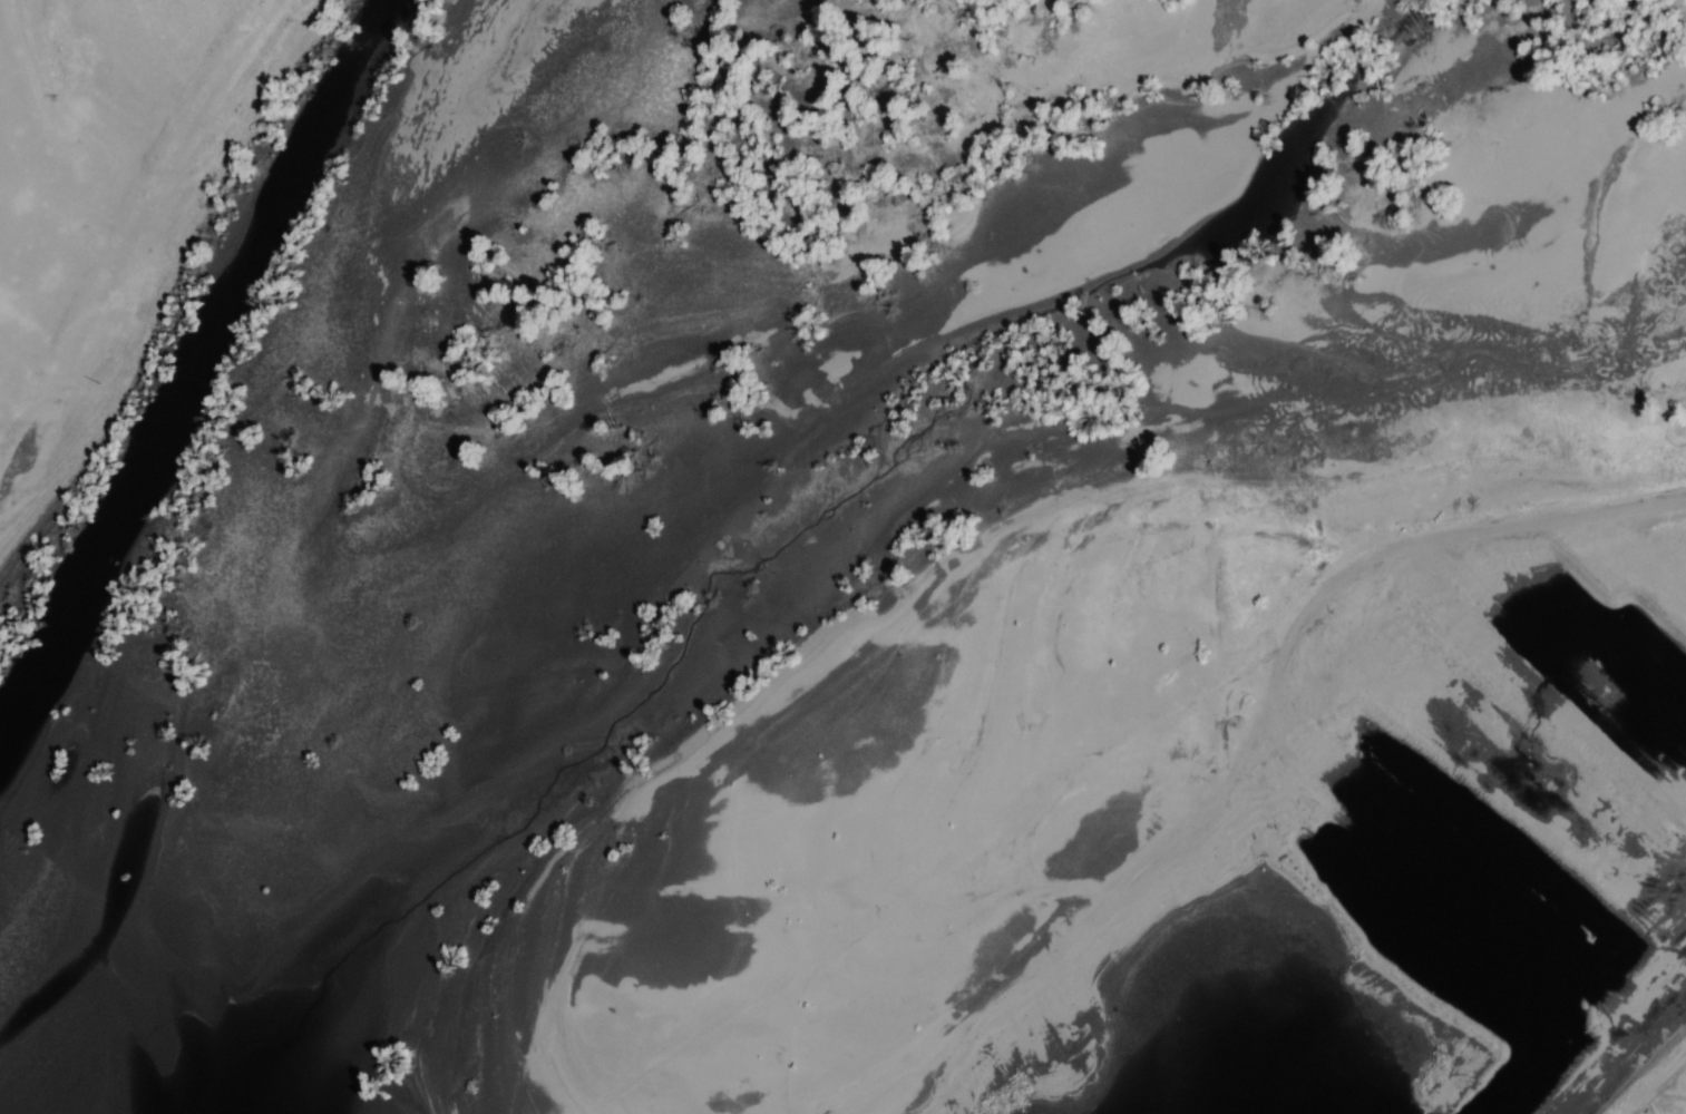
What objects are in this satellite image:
river: (206, 363)

